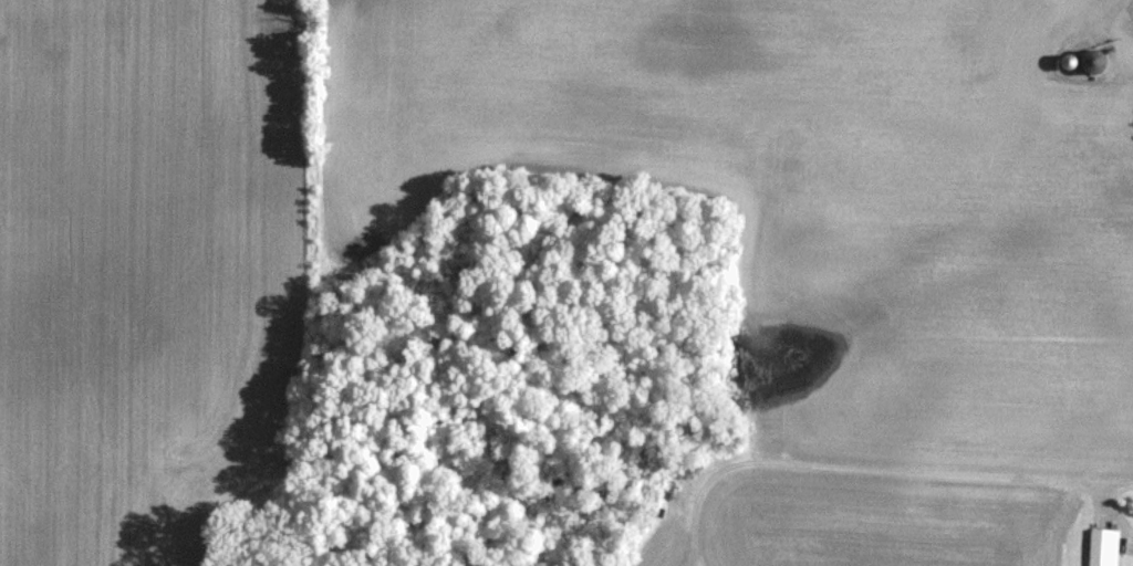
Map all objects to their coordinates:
building: (1099, 547)

